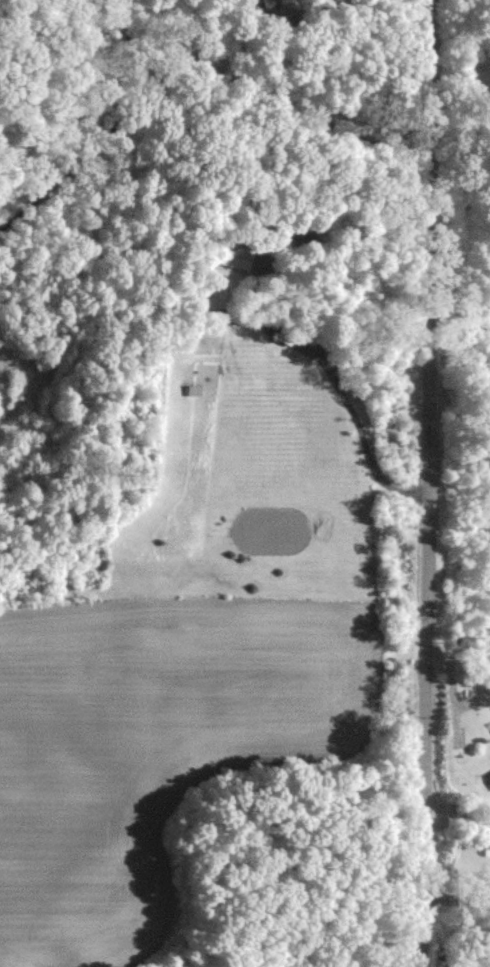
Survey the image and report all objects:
building: (236, 259)
road: (321, 316)
road: (428, 483)
building: (487, 777)
road: (458, 807)
road: (457, 891)

